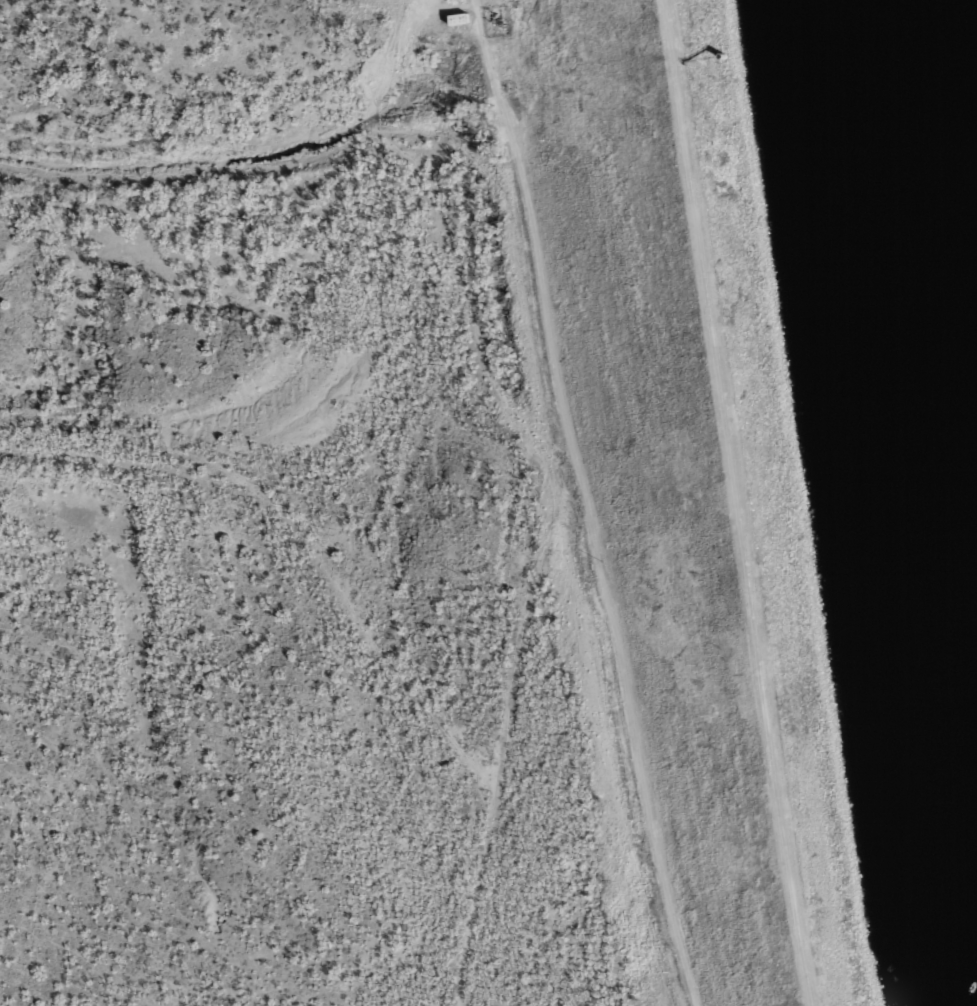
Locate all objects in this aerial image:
road: (539, 501)

